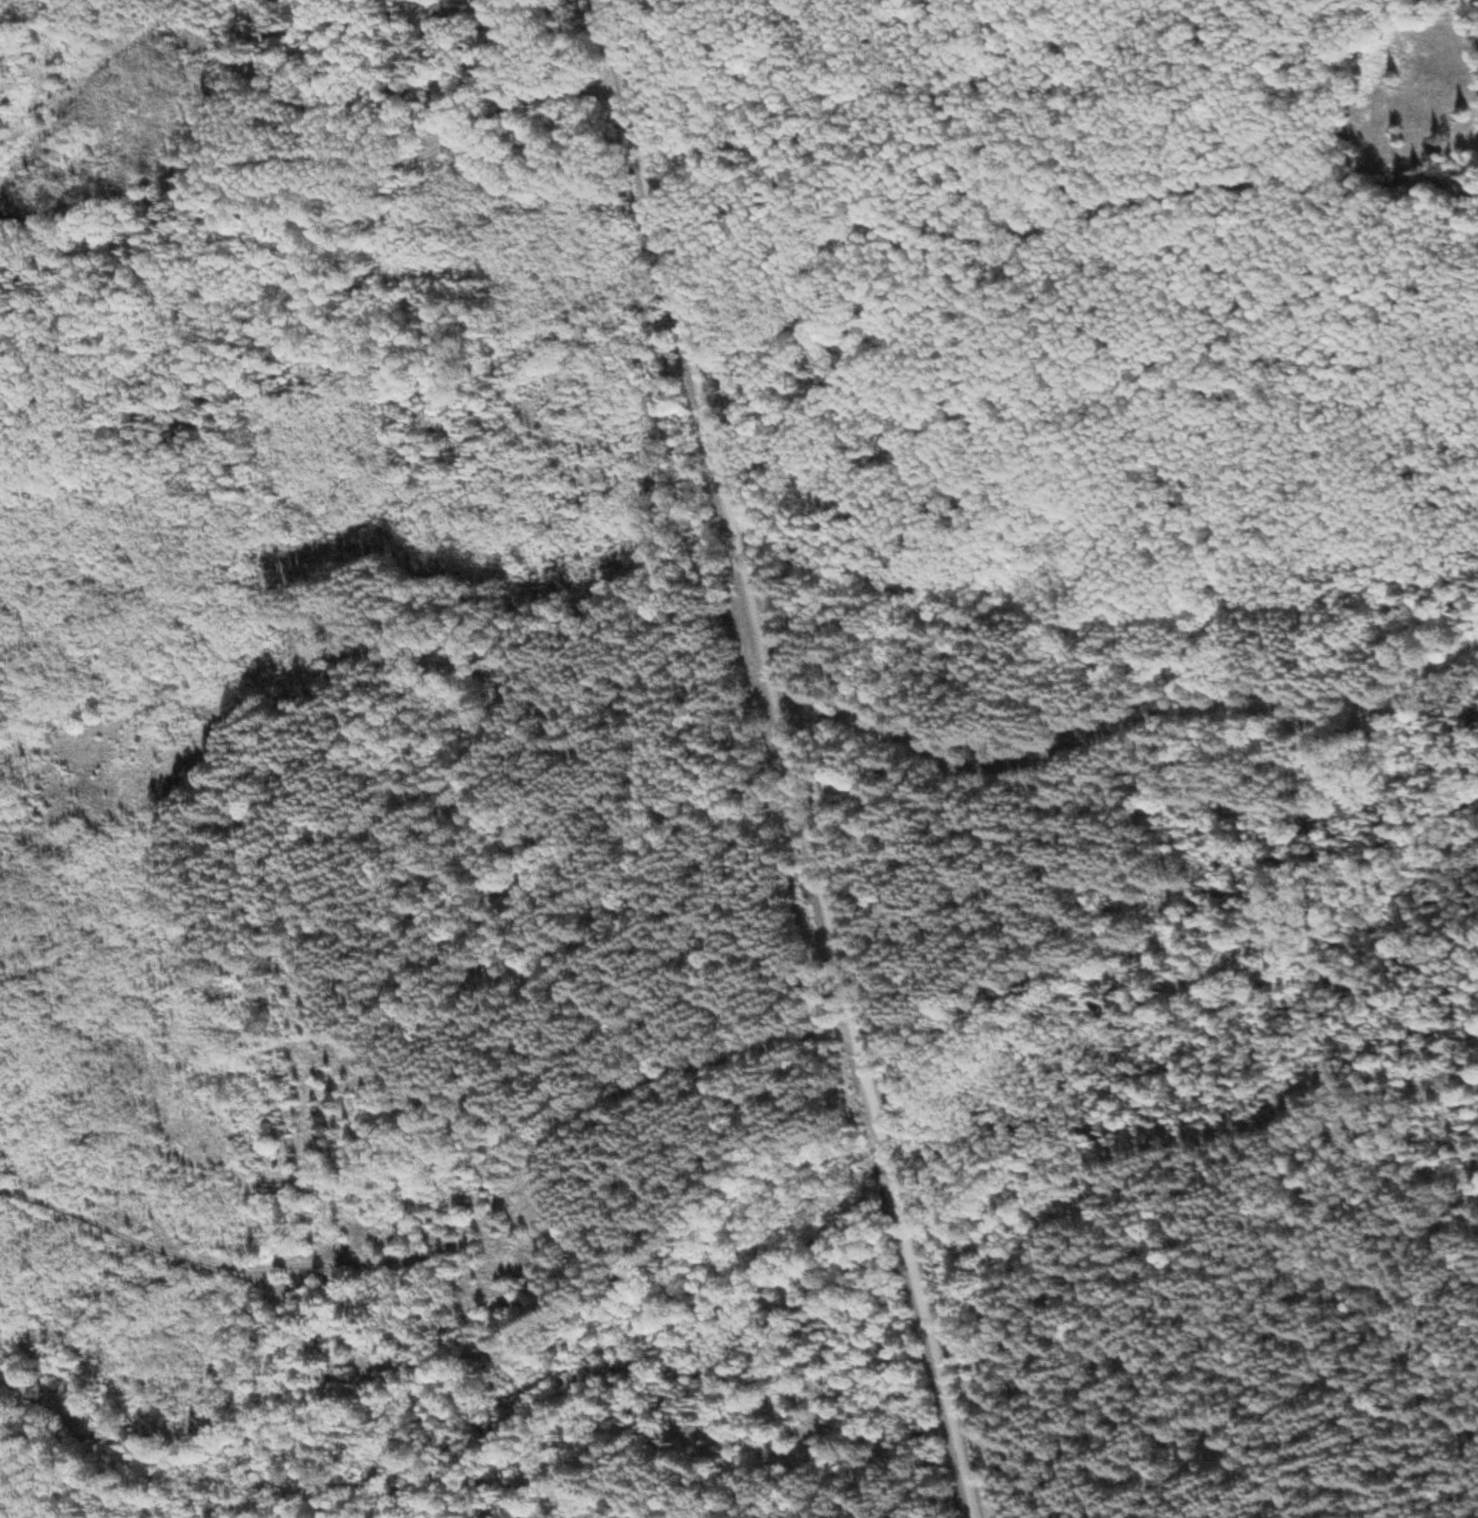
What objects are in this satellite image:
road: (296, 181)
road: (790, 758)
road: (451, 1234)

